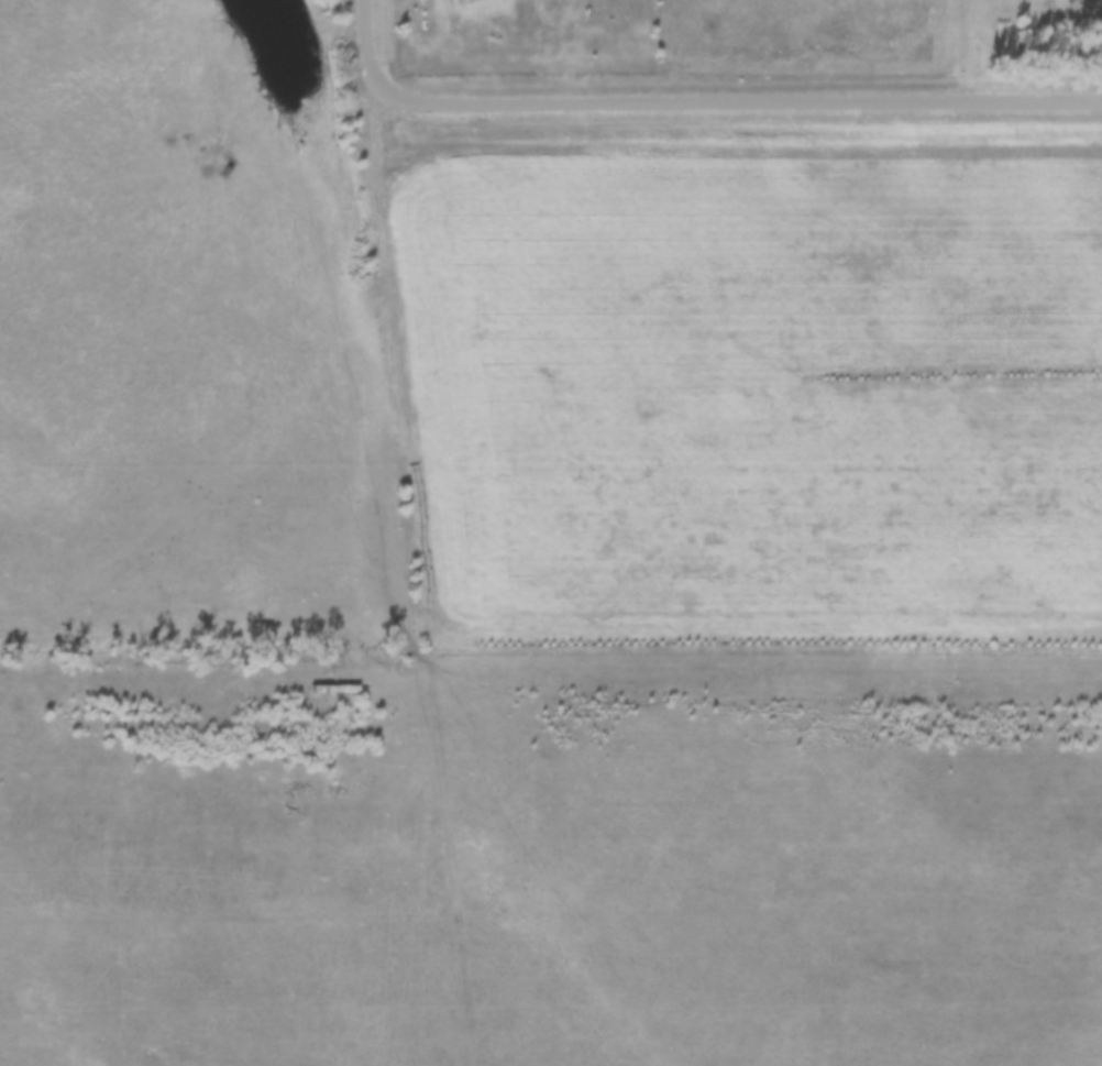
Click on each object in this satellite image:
road: (696, 98)

